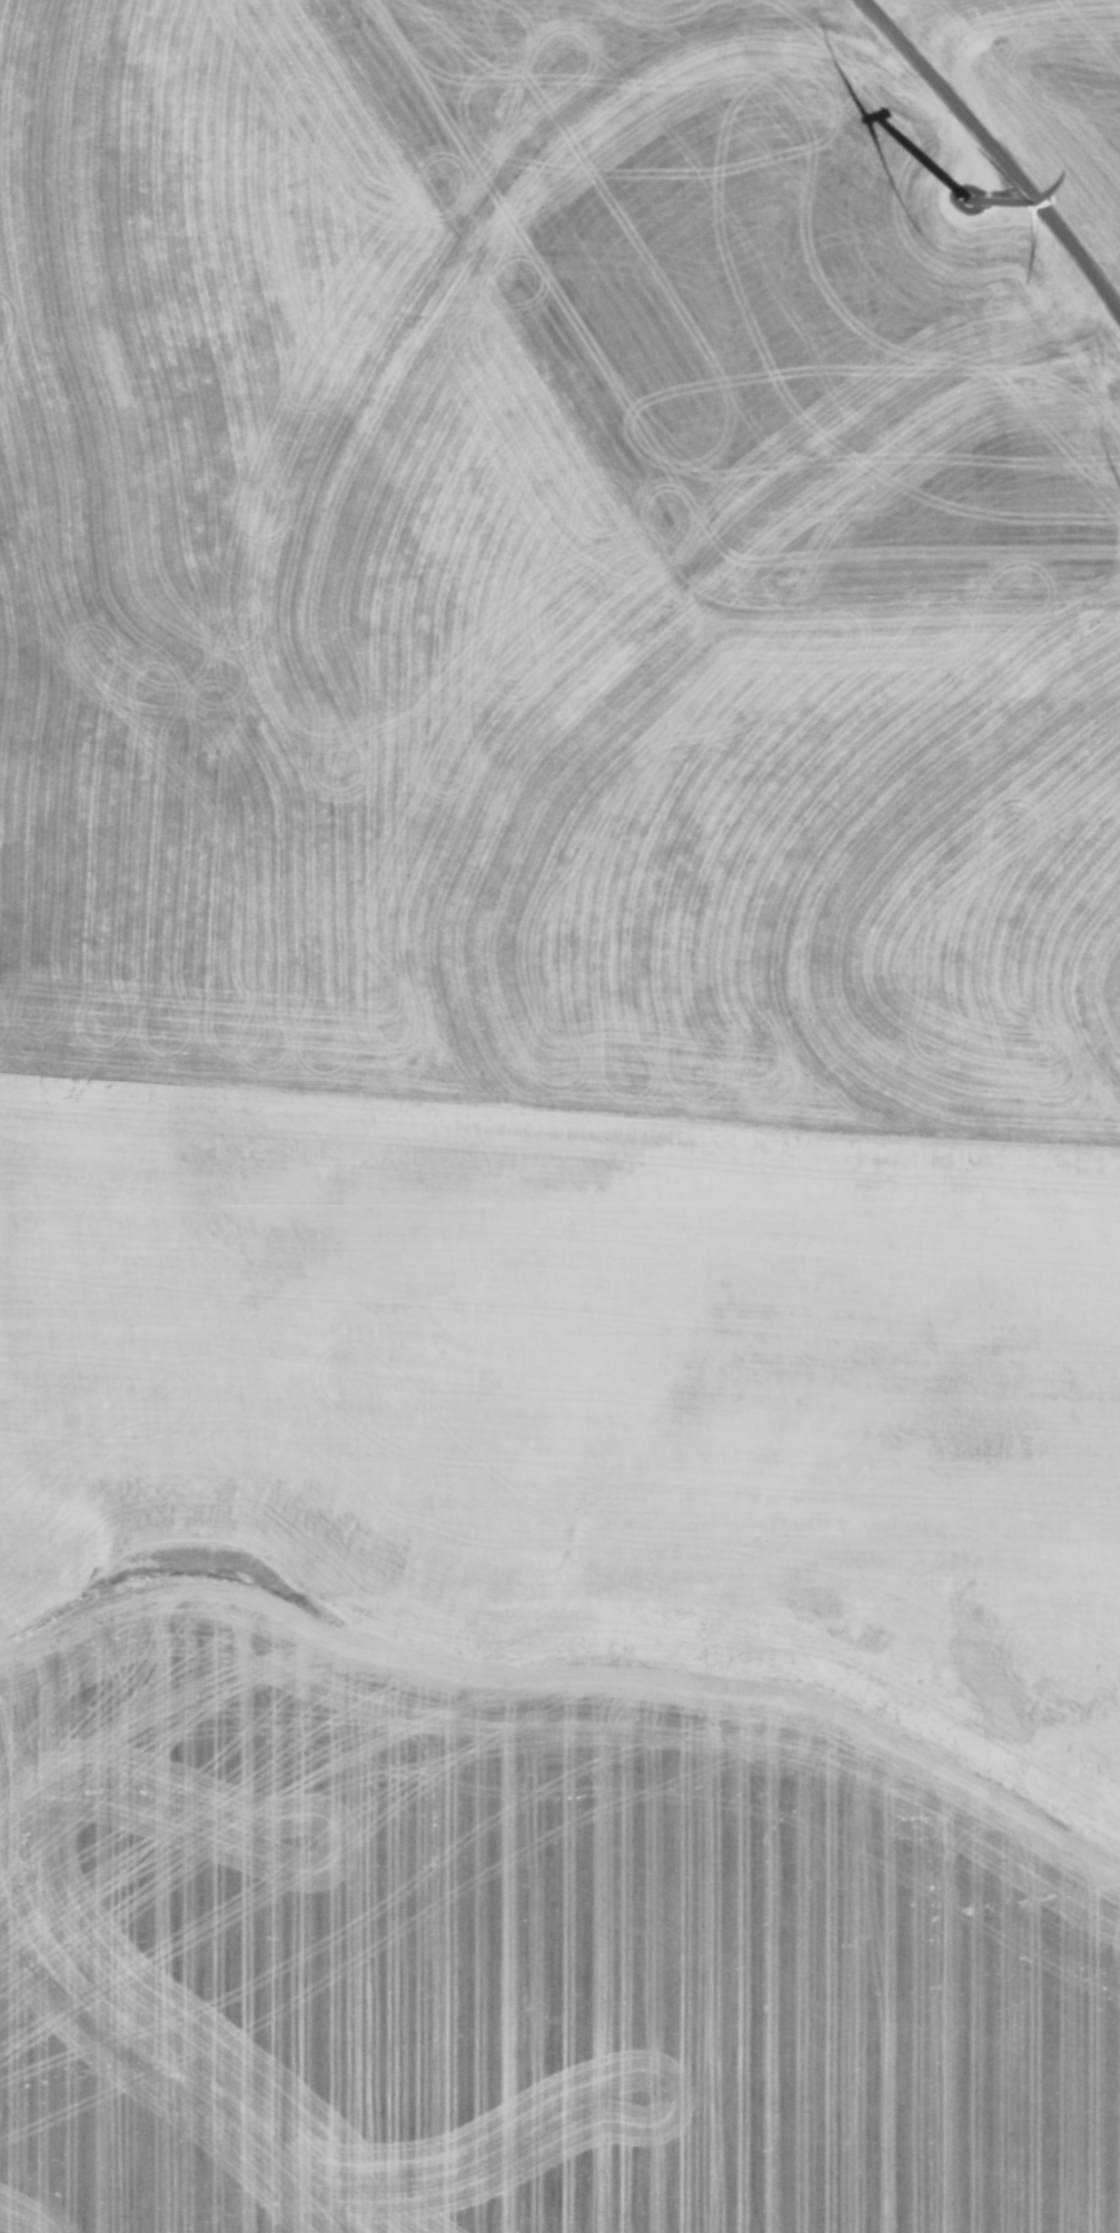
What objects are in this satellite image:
road: (1000, 150)
wind turbine: (963, 211)

